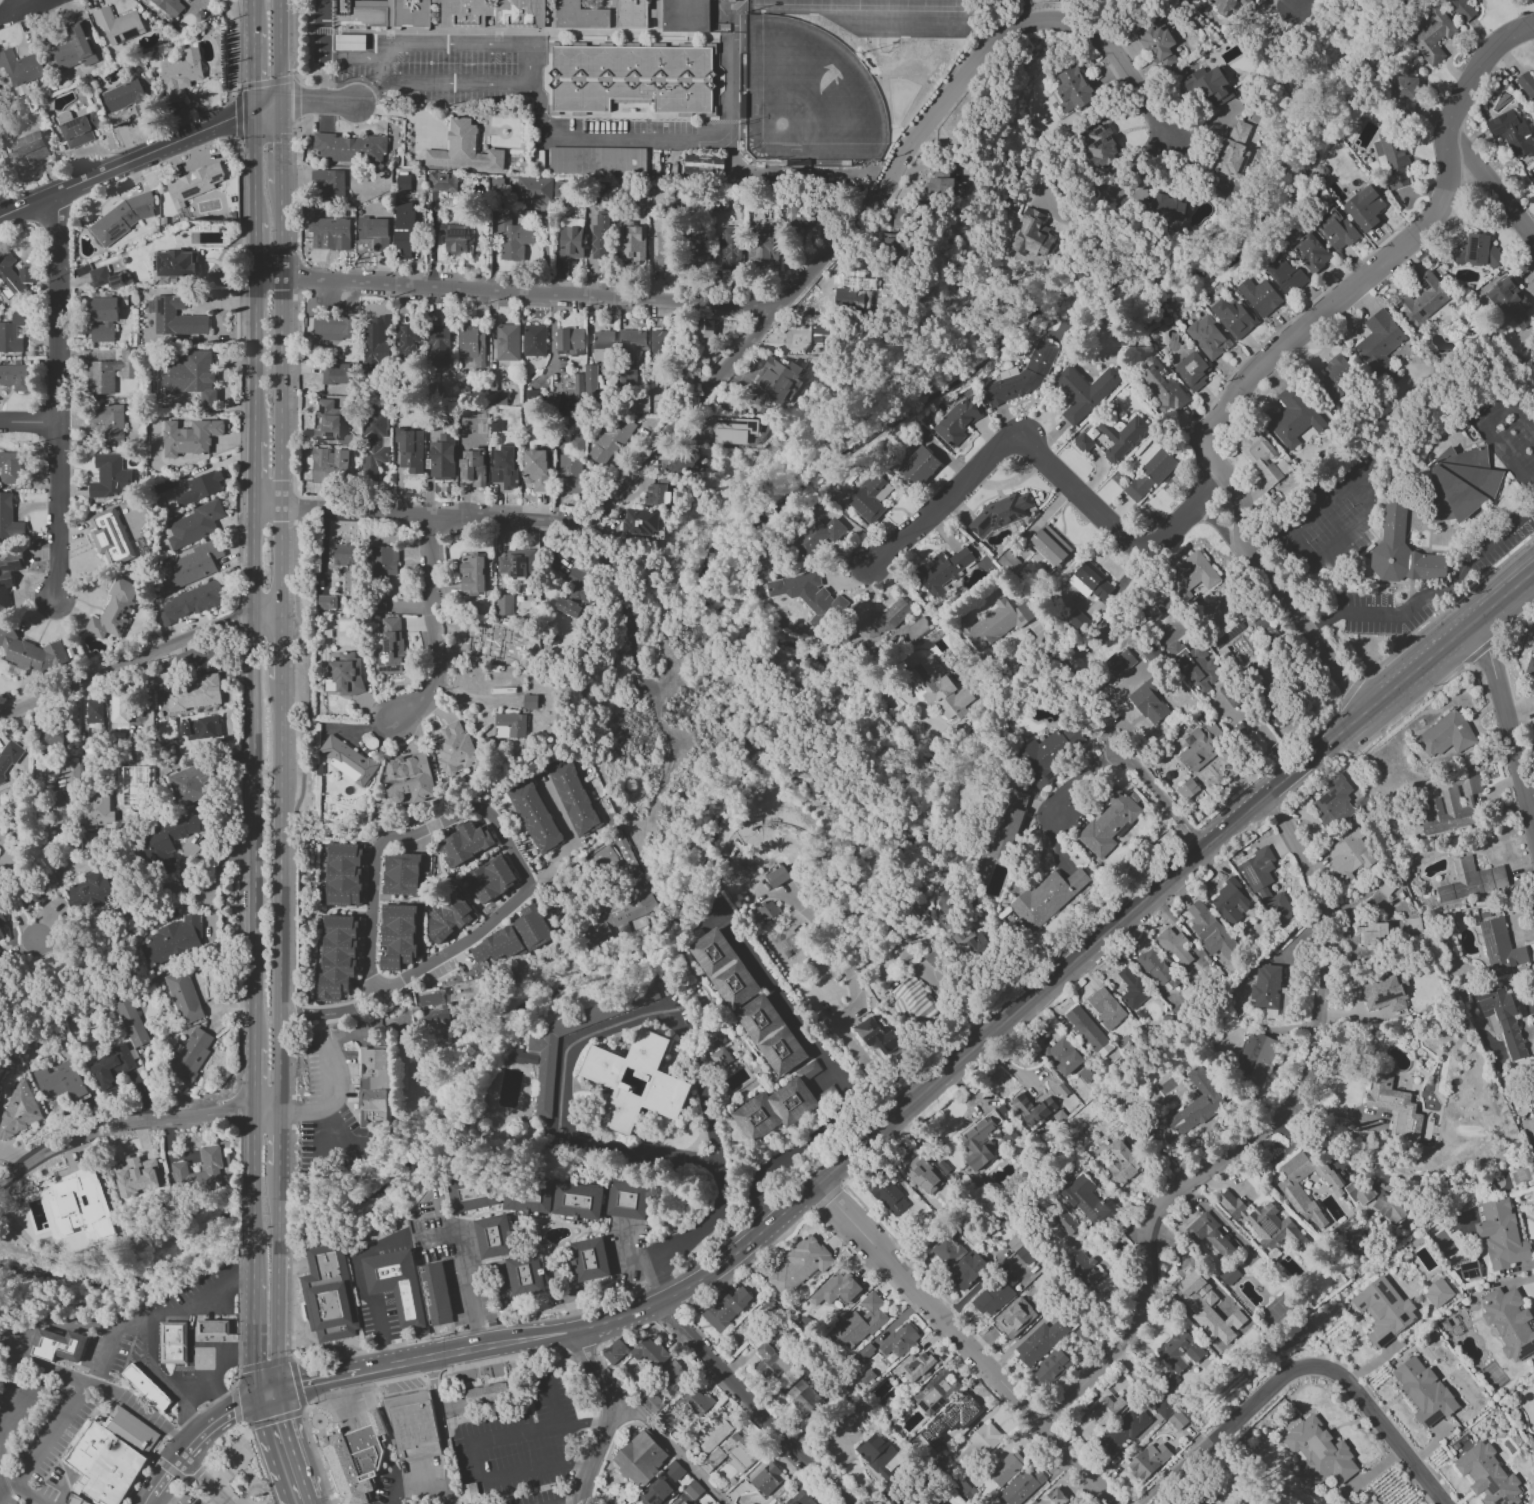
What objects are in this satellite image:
building: (1246, 1)
park: (868, 2)
park: (862, 5)
building: (1221, 5)
road: (1295, 5)
road: (14, 7)
road: (32, 7)
building: (169, 7)
building: (1463, 9)
road: (253, 12)
building: (413, 13)
building: (494, 13)
building: (634, 14)
building: (581, 15)
road: (7, 16)
building: (359, 16)
building: (687, 16)
building: (118, 25)
building: (1433, 35)
building: (349, 42)
building: (1158, 44)
road: (237, 45)
building: (72, 50)
road: (279, 53)
road: (324, 59)
building: (20, 68)
road: (254, 68)
road: (532, 69)
road: (1475, 72)
road: (307, 73)
road: (730, 74)
building: (181, 75)
building: (632, 77)
parking lot: (456, 78)
traffic signals: (254, 81)
building: (1526, 84)
road: (261, 85)
building: (1208, 87)
building: (1074, 90)
building: (1404, 91)
road: (368, 93)
building: (128, 98)
park: (805, 99)
traffic signals: (301, 102)
road: (316, 102)
road: (405, 110)
building: (63, 117)
traffic signals: (235, 117)
parking lot: (637, 127)
building: (79, 130)
building: (1512, 134)
road: (601, 141)
traffic signals: (281, 144)
road: (281, 146)
building: (1103, 147)
building: (27, 148)
building: (1234, 148)
building: (349, 149)
building: (463, 150)
road: (138, 158)
building: (1392, 159)
building: (596, 161)
building: (703, 164)
road: (255, 166)
road: (894, 167)
building: (402, 183)
building: (194, 184)
building: (329, 184)
building: (943, 186)
building: (1533, 186)
building: (533, 189)
building: (562, 189)
road: (1492, 192)
building: (1168, 208)
building: (1364, 208)
building: (800, 215)
building: (122, 218)
building: (905, 219)
building: (1336, 229)
building: (403, 230)
building: (373, 232)
building: (329, 234)
building: (1032, 234)
building: (602, 236)
building: (453, 239)
building: (512, 239)
building: (570, 242)
building: (632, 243)
building: (896, 245)
building: (762, 246)
road: (257, 247)
building: (731, 247)
building: (666, 248)
building: (1311, 251)
building: (1476, 251)
building: (698, 252)
building: (176, 264)
building: (1285, 273)
building: (13, 276)
building: (104, 278)
road: (517, 290)
building: (851, 294)
building: (1260, 296)
building: (1422, 300)
building: (1510, 302)
road: (1324, 308)
building: (174, 317)
building: (1233, 317)
building: (102, 319)
building: (334, 327)
building: (704, 328)
building: (12, 333)
building: (1208, 337)
building: (820, 339)
building: (534, 340)
building: (1379, 340)
building: (376, 341)
road: (551, 341)
building: (569, 341)
building: (631, 341)
building: (508, 344)
building: (408, 345)
building: (439, 346)
building: (471, 346)
building: (603, 346)
building: (659, 346)
road: (257, 354)
building: (1192, 370)
building: (110, 373)
building: (334, 375)
building: (14, 377)
building: (192, 377)
building: (1339, 378)
building: (780, 379)
building: (583, 383)
building: (1160, 385)
building: (1083, 392)
road: (55, 396)
building: (496, 396)
road: (284, 401)
building: (1293, 418)
building: (326, 420)
building: (958, 421)
building: (108, 422)
road: (27, 423)
road: (1484, 429)
building: (733, 430)
building: (1121, 436)
building: (189, 437)
building: (1085, 439)
building: (373, 445)
road: (1020, 445)
building: (410, 451)
building: (1260, 456)
building: (442, 458)
building: (685, 463)
building: (330, 465)
building: (571, 465)
building: (504, 466)
building: (918, 466)
building: (473, 467)
building: (9, 468)
building: (536, 469)
road: (256, 472)
building: (1150, 475)
building: (110, 476)
building: (1460, 484)
building: (200, 488)
road: (1358, 489)
building: (656, 495)
building: (870, 498)
road: (1195, 505)
road: (270, 509)
building: (1001, 513)
road: (436, 515)
building: (9, 519)
building: (640, 521)
building: (195, 525)
building: (817, 536)
building: (110, 537)
building: (1049, 546)
building: (1401, 548)
building: (344, 555)
building: (383, 561)
building: (1008, 562)
road: (256, 563)
building: (516, 563)
building: (195, 564)
building: (944, 569)
building: (472, 574)
building: (1191, 575)
building: (8, 576)
building: (1090, 581)
building: (577, 592)
road: (1434, 593)
building: (807, 596)
road: (1280, 599)
building: (191, 602)
building: (325, 602)
building: (503, 604)
building: (114, 610)
road: (270, 617)
building: (997, 623)
road: (432, 629)
building: (488, 640)
road: (1452, 640)
building: (391, 646)
road: (285, 648)
building: (33, 652)
building: (187, 658)
building: (1119, 662)
road: (126, 663)
building: (1195, 665)
building: (1531, 668)
building: (345, 675)
road: (1070, 681)
building: (939, 687)
building: (1532, 692)
building: (193, 694)
building: (529, 702)
building: (1148, 702)
building: (119, 710)
building: (94, 711)
road: (1506, 721)
building: (510, 725)
building: (197, 727)
road: (1260, 729)
road: (1110, 734)
building: (50, 736)
building: (1446, 736)
building: (1202, 747)
building: (453, 748)
building: (1045, 756)
building: (8, 761)
building: (347, 761)
building: (408, 778)
road: (1073, 780)
building: (188, 784)
building: (1187, 789)
building: (575, 797)
building: (1333, 802)
road: (1168, 803)
building: (1452, 806)
building: (535, 818)
building: (1110, 822)
building: (1006, 825)
road: (253, 830)
road: (404, 837)
road: (570, 840)
building: (168, 842)
building: (466, 842)
building: (1348, 855)
building: (604, 859)
building: (627, 859)
building: (343, 874)
building: (404, 875)
building: (777, 877)
building: (491, 880)
building: (1471, 881)
building: (1264, 882)
building: (89, 891)
road: (283, 894)
building: (1047, 897)
building: (1229, 902)
road: (151, 903)
building: (767, 911)
building: (1, 915)
building: (617, 915)
building: (449, 917)
building: (1414, 926)
building: (532, 928)
building: (1210, 930)
building: (1372, 933)
building: (1, 935)
building: (398, 937)
building: (966, 939)
building: (171, 941)
building: (1498, 942)
building: (498, 946)
building: (1173, 946)
building: (338, 956)
building: (932, 956)
building: (0, 961)
building: (721, 968)
building: (1157, 968)
road: (411, 973)
building: (1266, 987)
building: (1132, 988)
building: (1385, 995)
building: (182, 996)
road: (850, 1000)
building: (913, 1002)
building: (1105, 1008)
building: (434, 1010)
building: (130, 1019)
building: (1502, 1019)
building: (1087, 1030)
road: (343, 1034)
building: (769, 1035)
building: (877, 1037)
building: (713, 1039)
road: (577, 1040)
building: (533, 1049)
building: (189, 1055)
building: (1062, 1056)
building: (720, 1057)
building: (1255, 1058)
building: (111, 1067)
road: (257, 1077)
building: (59, 1082)
building: (639, 1082)
road: (841, 1082)
building: (374, 1088)
road: (925, 1093)
road: (329, 1100)
building: (1197, 1104)
building: (1398, 1109)
building: (18, 1110)
building: (773, 1110)
building: (1037, 1111)
road: (291, 1118)
road: (135, 1122)
road: (1252, 1136)
road: (282, 1139)
building: (981, 1140)
road: (256, 1148)
building: (1122, 1164)
road: (241, 1165)
building: (197, 1174)
building: (922, 1175)
building: (137, 1179)
building: (482, 1193)
building: (1296, 1195)
building: (535, 1196)
building: (889, 1197)
building: (634, 1200)
building: (1375, 1200)
building: (586, 1201)
building: (1090, 1202)
road: (281, 1204)
building: (79, 1206)
road: (254, 1214)
road: (241, 1215)
road: (289, 1219)
building: (1066, 1223)
building: (1264, 1223)
building: (1210, 1234)
road: (438, 1235)
road: (686, 1235)
building: (1501, 1235)
road: (240, 1237)
building: (500, 1237)
building: (1021, 1250)
building: (947, 1251)
building: (596, 1260)
road: (253, 1261)
building: (800, 1264)
road: (466, 1267)
building: (1084, 1268)
building: (967, 1270)
building: (1229, 1275)
building: (531, 1276)
building: (397, 1285)
road: (358, 1289)
building: (838, 1290)
road: (291, 1293)
building: (435, 1293)
building: (1438, 1293)
building: (335, 1294)
building: (995, 1295)
building: (725, 1309)
building: (1208, 1309)
building: (1383, 1311)
road: (281, 1316)
building: (1015, 1318)
building: (1509, 1321)
building: (862, 1322)
road: (60, 1325)
building: (217, 1330)
flagpole: (457, 1330)
road: (149, 1334)
road: (253, 1338)
building: (899, 1340)
building: (1040, 1342)
building: (178, 1345)
road: (968, 1346)
building: (63, 1348)
building: (1179, 1351)
building: (614, 1352)
building: (649, 1352)
building: (864, 1354)
road: (100, 1355)
road: (217, 1355)
traffic signals: (253, 1360)
building: (770, 1361)
road: (390, 1366)
building: (919, 1367)
building: (1051, 1367)
road: (1298, 1367)
road: (577, 1368)
road: (433, 1374)
building: (673, 1378)
road: (320, 1380)
road: (34, 1384)
road: (297, 1385)
traffic signals: (301, 1385)
road: (367, 1386)
building: (151, 1391)
building: (1423, 1391)
building: (935, 1392)
road: (269, 1393)
road: (223, 1394)
building: (492, 1394)
building: (803, 1396)
building: (1533, 1396)
road: (80, 1397)
building: (695, 1401)
road: (238, 1402)
road: (550, 1402)
road: (755, 1403)
road: (235, 1405)
traffic signals: (228, 1406)
building: (1105, 1408)
road: (184, 1410)
road: (609, 1413)
building: (1169, 1414)
building: (960, 1418)
building: (668, 1421)
traffic signals: (284, 1422)
road: (590, 1422)
road: (443, 1423)
parking lot: (39, 1424)
road: (242, 1425)
building: (417, 1425)
building: (1124, 1429)
building: (132, 1430)
road: (194, 1431)
building: (711, 1433)
road: (671, 1446)
road: (291, 1447)
road: (270, 1451)
road: (467, 1451)
building: (732, 1454)
building: (1319, 1454)
road: (316, 1457)
building: (359, 1459)
building: (1148, 1460)
road: (231, 1461)
road: (304, 1461)
building: (643, 1461)
road: (169, 1464)
building: (108, 1465)
road: (575, 1465)
building: (1006, 1468)
building: (673, 1470)
building: (1487, 1476)
road: (201, 1478)
road: (178, 1479)
building: (767, 1479)
road: (416, 1484)
road: (157, 1486)
road: (189, 1486)
building: (1020, 1487)
building: (658, 1492)
building: (468, 1494)
building: (689, 1494)
road: (26, 1495)
road: (168, 1495)
building: (800, 1498)
building: (80, 1500)
road: (217, 1501)
road: (574, 1501)
building: (94, 1502)
building: (103, 1502)
road: (150, 1502)
building: (936, 1503)

